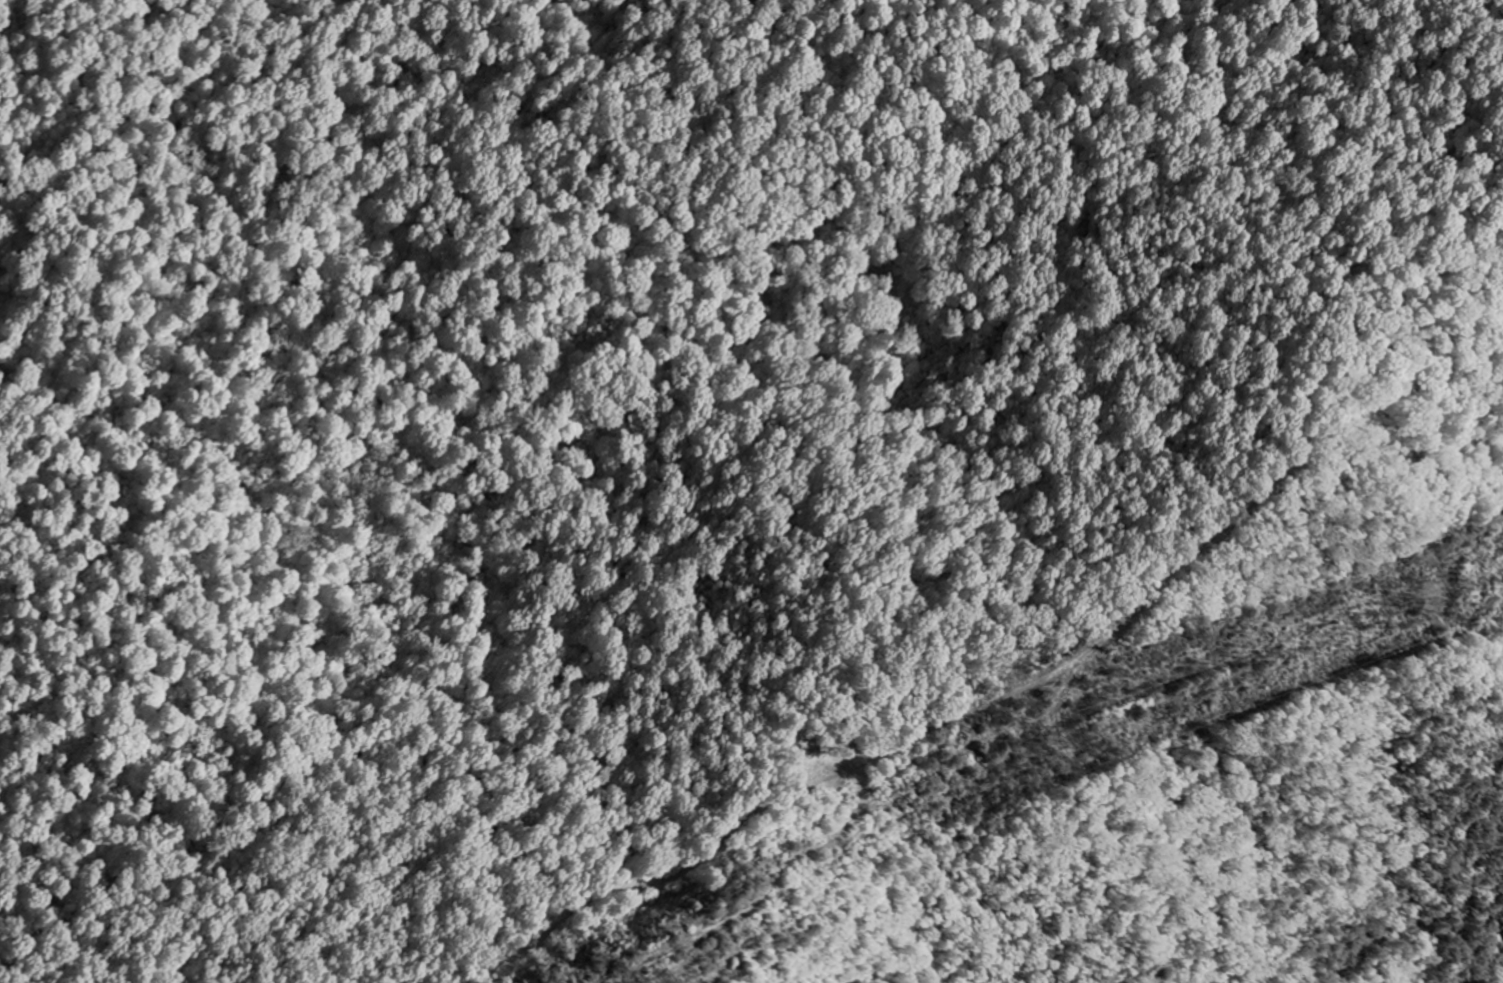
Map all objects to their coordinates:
power tower: (1437, 600)
power tower: (1062, 734)
power tower: (669, 979)

